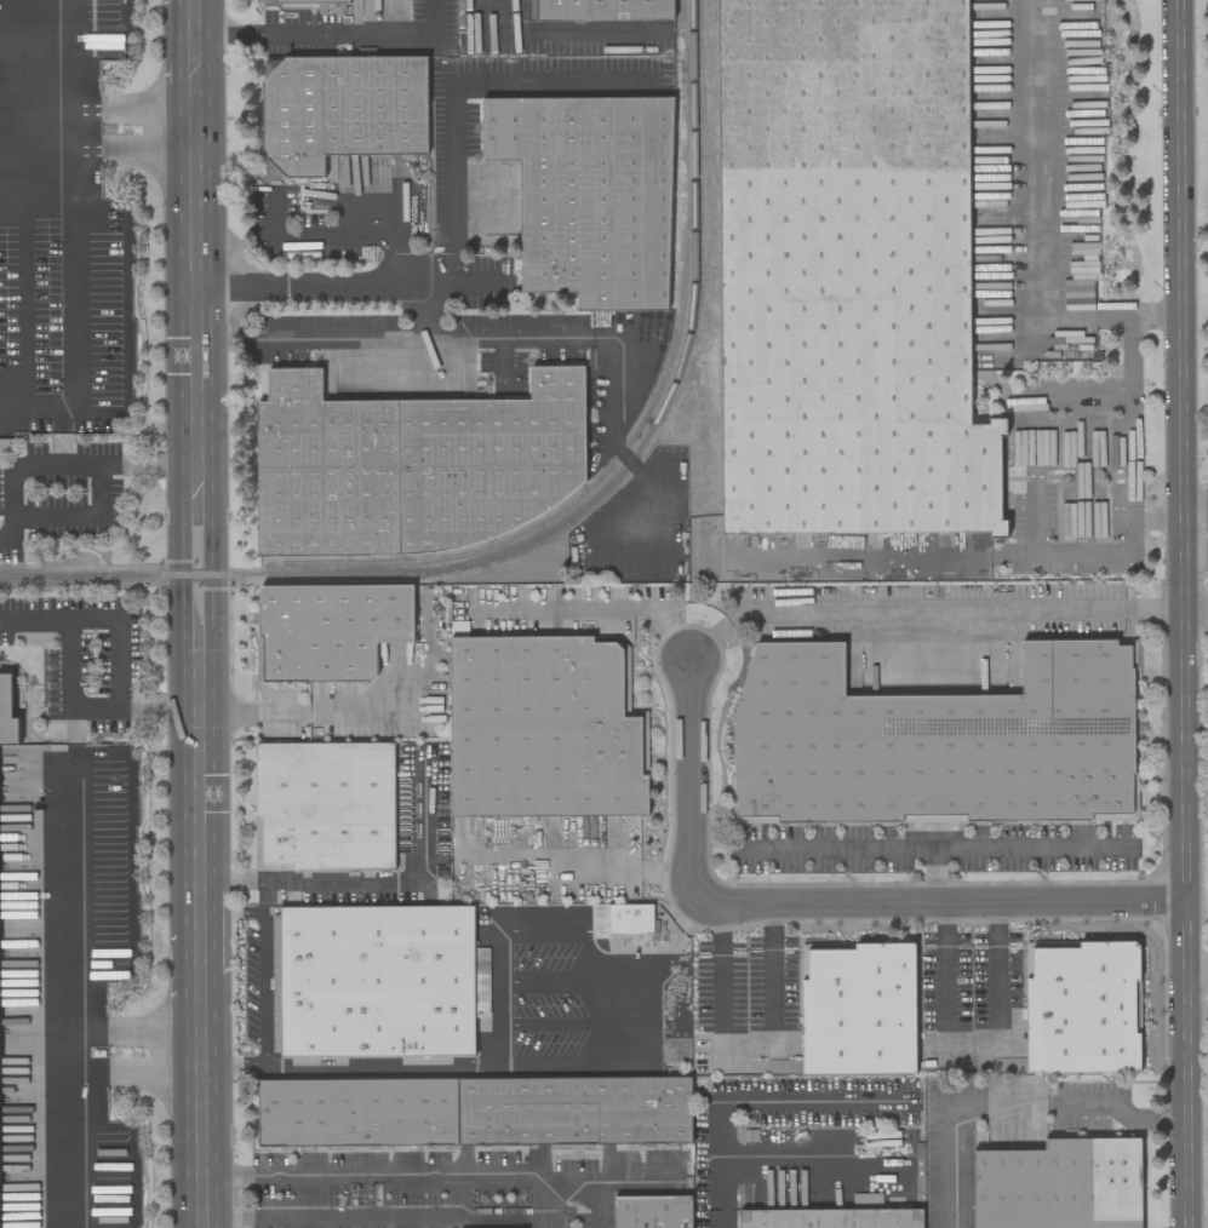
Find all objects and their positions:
building: (299, 1)
building: (605, 10)
railway: (681, 11)
road: (333, 34)
road: (171, 56)
building: (340, 110)
road: (102, 130)
road: (1034, 162)
building: (589, 196)
road: (25, 203)
road: (452, 214)
road: (405, 239)
building: (847, 272)
road: (481, 279)
road: (1095, 317)
road: (1156, 319)
road: (537, 337)
road: (340, 338)
road: (1133, 419)
road: (208, 436)
road: (105, 461)
road: (141, 461)
road: (193, 463)
building: (422, 465)
railway: (590, 488)
road: (1032, 489)
road: (1157, 521)
road: (1195, 521)
road: (176, 523)
railway: (560, 524)
road: (8, 535)
railway: (47, 580)
road: (596, 609)
road: (1195, 610)
road: (1009, 612)
road: (1181, 614)
road: (756, 618)
building: (330, 630)
road: (115, 642)
road: (69, 698)
road: (261, 708)
road: (431, 711)
building: (7, 713)
building: (538, 744)
building: (928, 753)
road: (695, 784)
building: (324, 807)
road: (1032, 845)
road: (868, 847)
road: (582, 867)
road: (196, 873)
road: (377, 882)
road: (941, 907)
building: (623, 919)
road: (212, 924)
road: (538, 930)
road: (265, 951)
road: (1196, 958)
road: (649, 962)
road: (71, 965)
building: (378, 982)
road: (181, 987)
road: (493, 997)
road: (213, 1017)
building: (852, 1023)
building: (1077, 1026)
road: (972, 1049)
road: (746, 1050)
road: (181, 1057)
road: (197, 1060)
road: (497, 1063)
road: (239, 1067)
road: (755, 1101)
road: (1007, 1106)
building: (474, 1112)
road: (183, 1132)
road: (213, 1143)
road: (813, 1155)
road: (430, 1167)
building: (1059, 1186)
building: (866, 1201)
road: (594, 1207)
building: (652, 1212)
road: (384, 1218)
building: (831, 1218)
road: (555, 1223)

